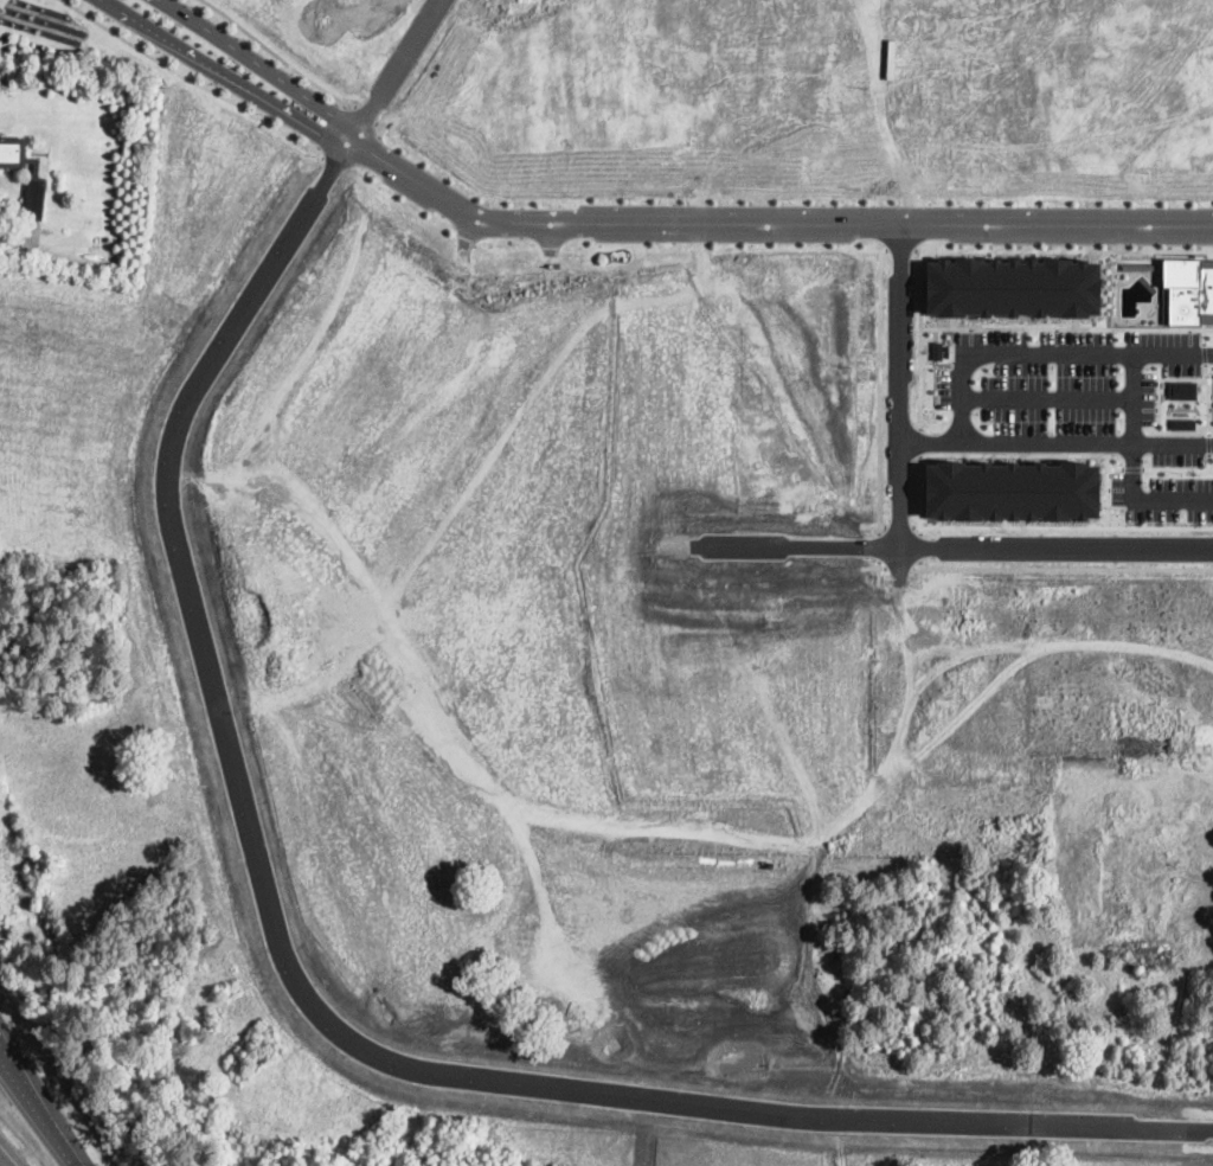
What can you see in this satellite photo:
road: (317, 5)
road: (360, 8)
road: (277, 57)
road: (261, 64)
road: (393, 70)
road: (227, 73)
road: (193, 82)
road: (881, 111)
road: (333, 128)
building: (13, 153)
building: (36, 169)
building: (34, 199)
road: (770, 220)
road: (867, 249)
road: (899, 250)
road: (1063, 250)
building: (1014, 288)
building: (1187, 290)
road: (1066, 327)
road: (1204, 335)
road: (919, 339)
road: (1046, 352)
road: (1204, 352)
road: (1205, 370)
road: (1159, 378)
road: (899, 382)
building: (1182, 389)
road: (879, 391)
road: (1046, 397)
parking lot: (1092, 409)
building: (1183, 423)
road: (1055, 441)
road: (919, 442)
road: (1209, 443)
road: (1047, 453)
road: (1209, 460)
road: (1116, 468)
road: (1134, 468)
road: (1134, 468)
road: (1177, 468)
building: (1014, 491)
road: (919, 495)
road: (873, 525)
road: (898, 526)
road: (1061, 526)
road: (879, 545)
road: (957, 545)
road: (919, 547)
road: (872, 566)
road: (898, 568)
road: (1063, 568)
road: (879, 571)
road: (920, 572)
road: (308, 997)
road: (27, 1090)
road: (66, 1149)
road: (2, 1162)

